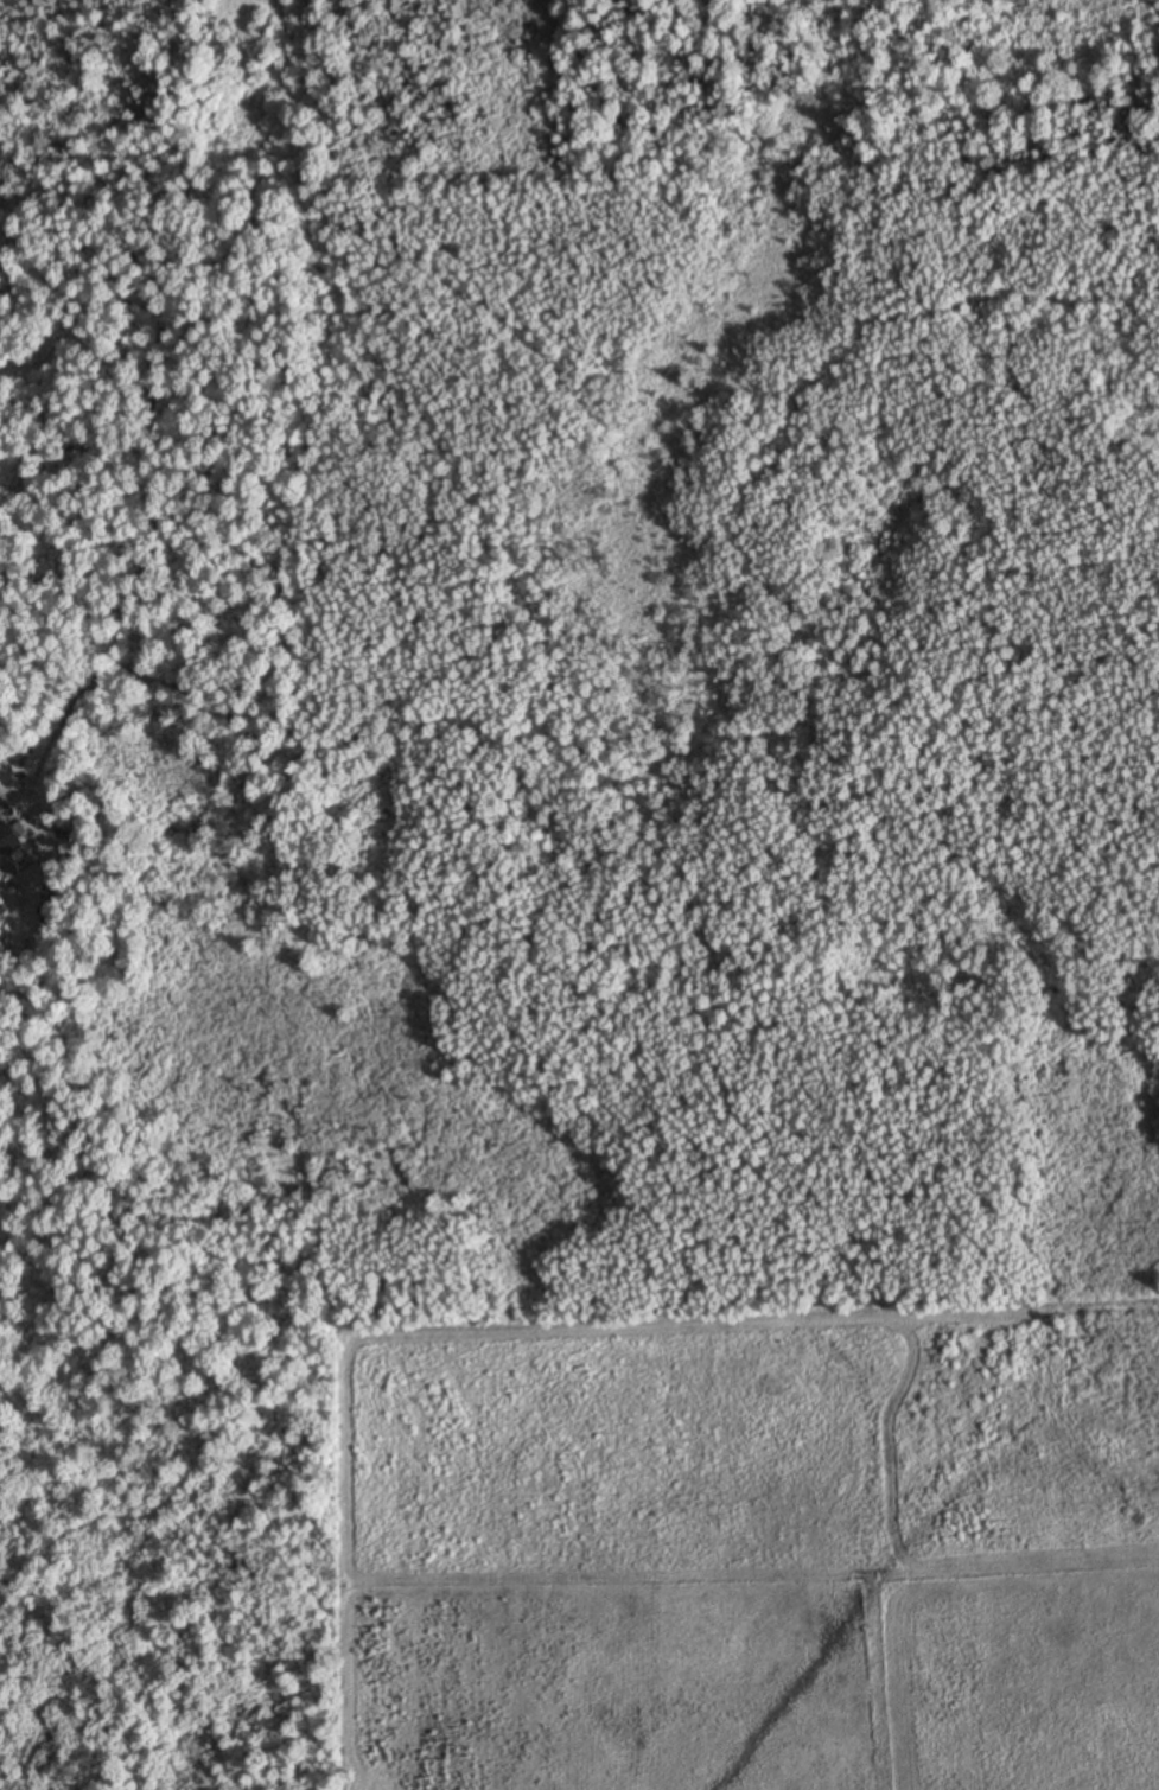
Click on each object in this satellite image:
building: (11, 842)
building: (1, 869)

